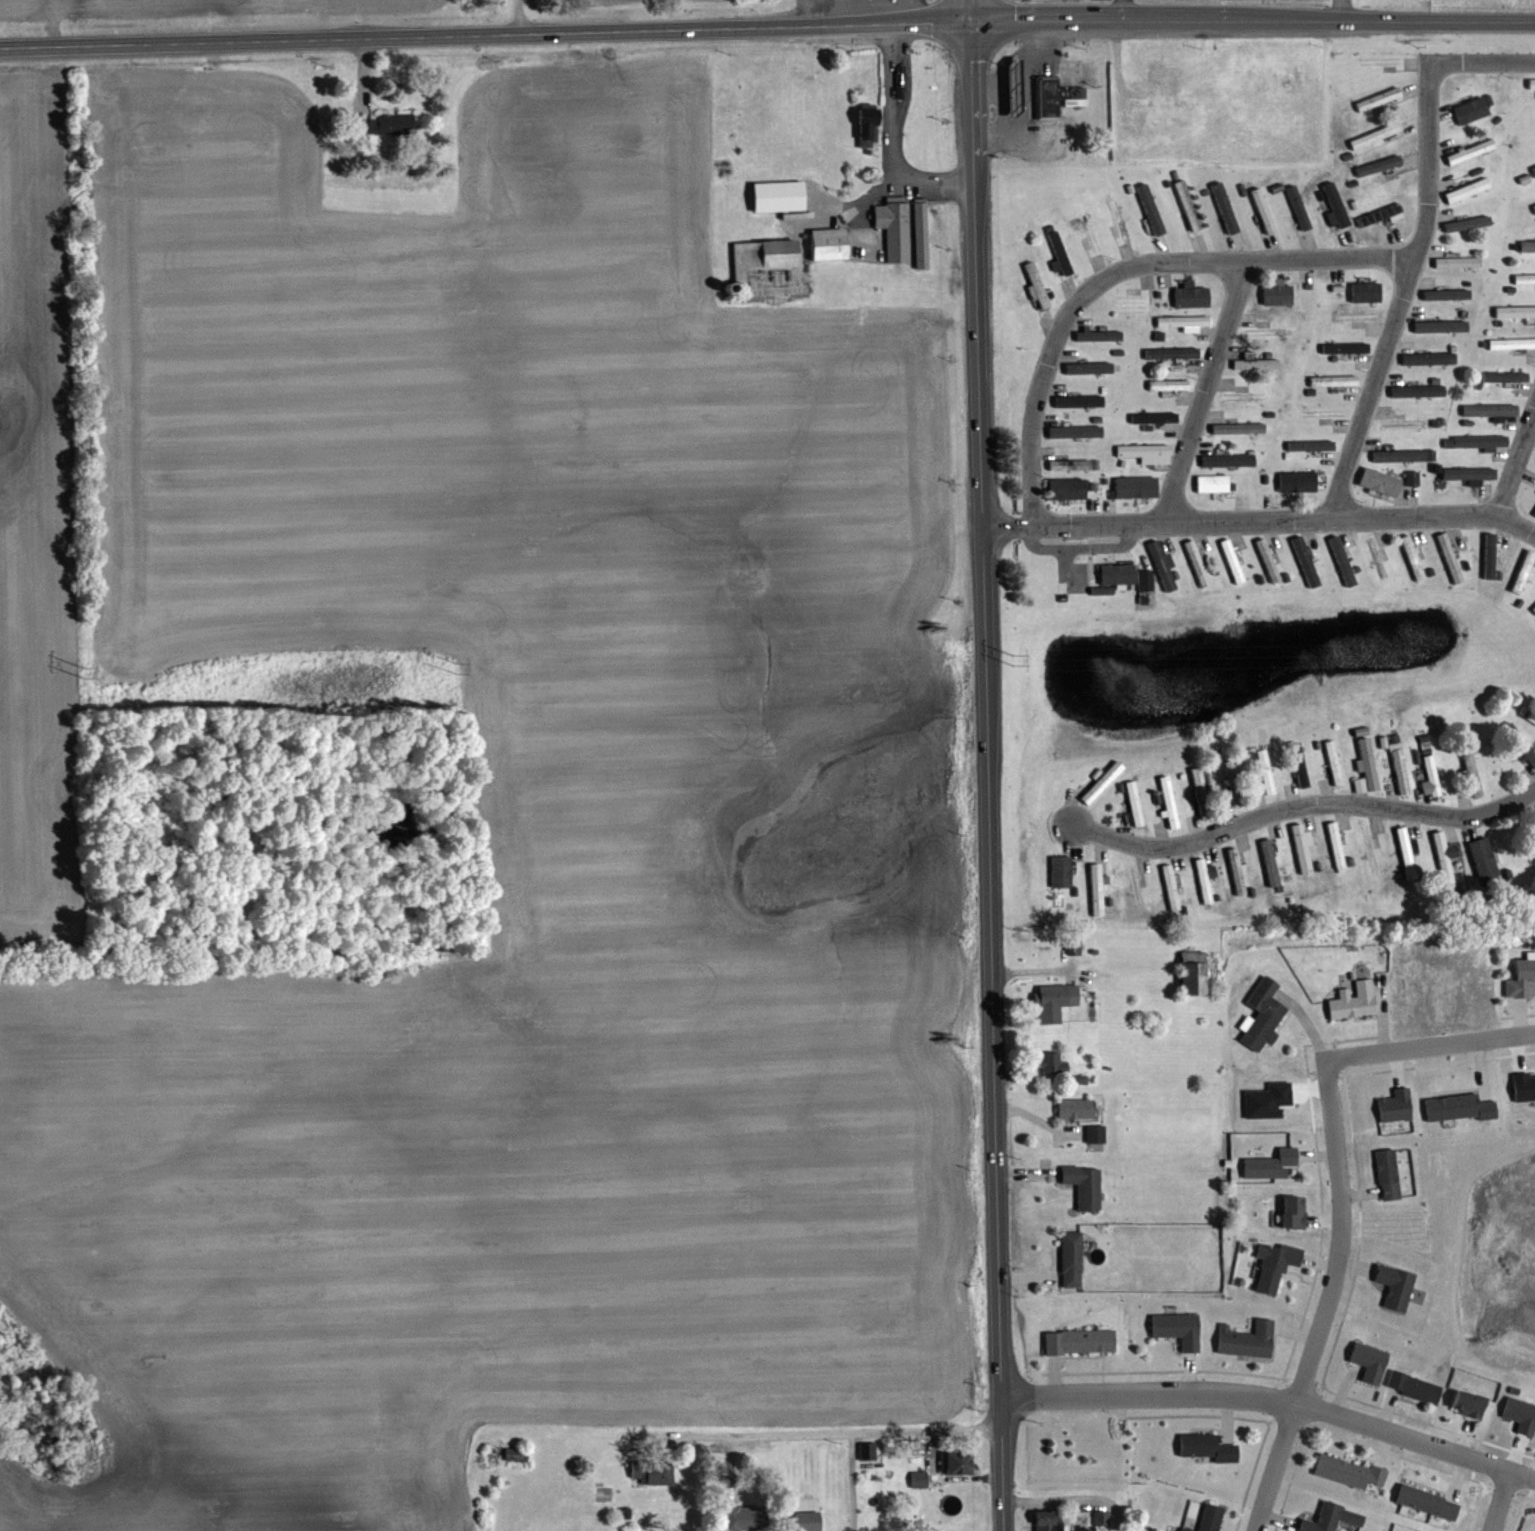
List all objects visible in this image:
road: (1124, 11)
road: (1339, 11)
road: (975, 12)
road: (515, 16)
road: (1255, 23)
traffic signals: (976, 24)
road: (487, 32)
road: (1484, 65)
building: (1162, 77)
building: (1276, 81)
building: (1534, 83)
building: (1057, 97)
building: (1379, 98)
building: (1471, 110)
building: (388, 124)
building: (868, 126)
building: (1375, 135)
road: (892, 142)
building: (1471, 151)
building: (1378, 165)
building: (1533, 168)
building: (1467, 189)
building: (779, 195)
building: (1187, 205)
building: (1534, 205)
building: (1335, 206)
building: (1224, 207)
building: (1150, 209)
building: (1263, 210)
building: (1379, 215)
building: (1117, 218)
building: (1468, 223)
building: (894, 228)
building: (1089, 230)
building: (921, 234)
building: (830, 243)
building: (1527, 245)
building: (1058, 252)
building: (763, 255)
road: (1123, 270)
building: (1037, 284)
building: (1365, 291)
building: (1277, 294)
building: (1191, 295)
road: (1401, 296)
building: (1132, 303)
building: (1514, 310)
building: (1182, 321)
building: (1097, 335)
building: (1511, 343)
building: (1344, 348)
building: (1429, 357)
building: (1255, 363)
building: (1089, 367)
building: (1504, 375)
building: (1333, 380)
building: (1168, 384)
building: (1417, 390)
road: (1207, 394)
building: (1244, 396)
building: (1490, 409)
building: (1157, 418)
building: (1405, 423)
building: (1237, 428)
building: (1075, 432)
building: (1475, 441)
building: (1309, 445)
building: (1145, 452)
building: (1403, 455)
building: (1227, 459)
building: (1073, 464)
road: (1517, 470)
building: (1467, 474)
building: (1412, 477)
building: (1297, 481)
building: (1379, 481)
building: (1214, 484)
building: (1136, 487)
building: (1067, 489)
building: (1533, 512)
road: (1259, 522)
building: (1488, 556)
building: (1412, 557)
building: (1448, 558)
building: (1231, 561)
building: (1341, 561)
building: (1377, 561)
building: (1196, 563)
building: (1306, 564)
building: (1162, 565)
building: (1118, 573)
building: (1534, 607)
building: (1509, 731)
building: (1529, 755)
building: (1333, 763)
building: (1298, 766)
building: (1365, 767)
building: (1427, 768)
building: (1265, 772)
building: (1400, 772)
building: (1471, 774)
road: (989, 777)
building: (1101, 782)
building: (1233, 782)
building: (1200, 792)
building: (1134, 803)
road: (1302, 807)
building: (1193, 822)
building: (1534, 832)
building: (1336, 847)
building: (1300, 849)
building: (1371, 849)
building: (1406, 853)
building: (1445, 856)
building: (1484, 859)
building: (1269, 863)
building: (1061, 872)
building: (1236, 872)
building: (1203, 881)
building: (1136, 887)
building: (1170, 887)
building: (1096, 890)
building: (1073, 947)
building: (1195, 973)
building: (1521, 978)
building: (1056, 1001)
building: (1353, 1001)
building: (1263, 1015)
building: (1052, 1065)
building: (1395, 1106)
building: (1458, 1108)
building: (1075, 1109)
building: (1095, 1134)
building: (1270, 1165)
building: (1387, 1175)
building: (1084, 1186)
road: (1341, 1196)
building: (1293, 1212)
building: (1071, 1260)
building: (1275, 1265)
building: (1395, 1286)
building: (1178, 1329)
building: (1247, 1340)
building: (1079, 1342)
building: (1369, 1361)
building: (1413, 1386)
road: (1273, 1401)
building: (1468, 1403)
road: (930, 1429)
road: (793, 1436)
building: (1206, 1447)
building: (516, 1454)
building: (957, 1463)
building: (1349, 1471)
building: (652, 1473)
building: (919, 1479)
road: (851, 1482)
road: (1071, 1496)
building: (1427, 1502)
road: (1503, 1502)
building: (1097, 1517)
building: (747, 1518)
building: (1209, 1518)
building: (1331, 1518)
building: (808, 1521)
building: (1046, 1521)

